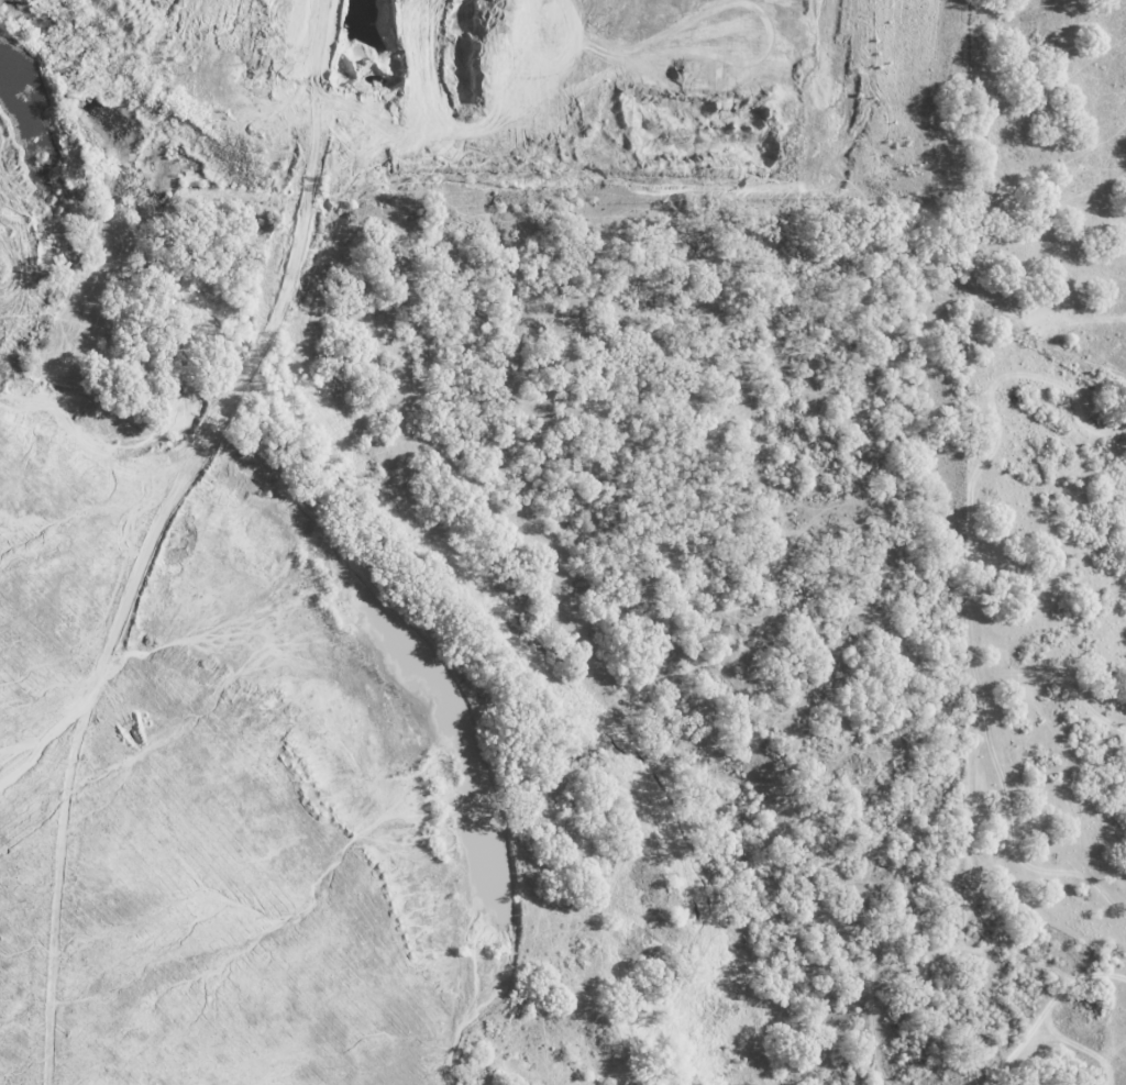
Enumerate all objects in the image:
road: (1047, 1008)

